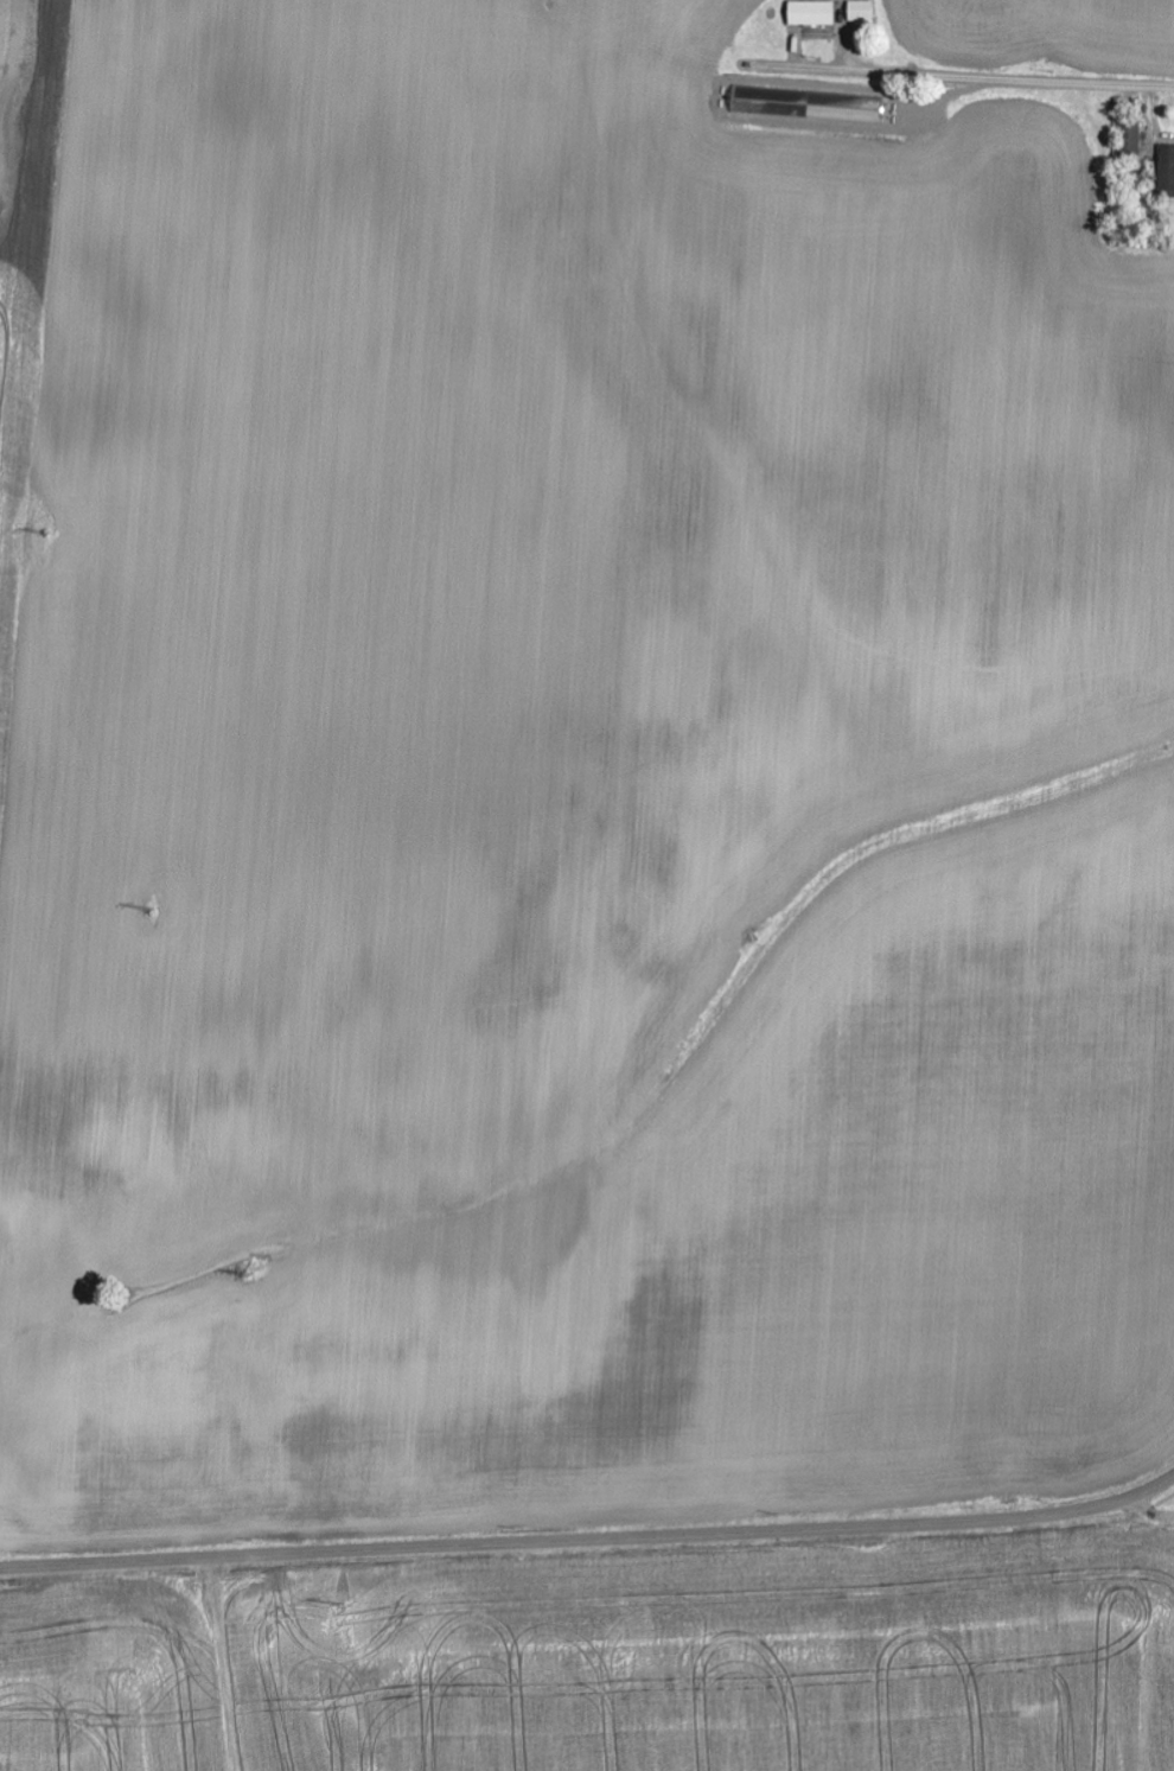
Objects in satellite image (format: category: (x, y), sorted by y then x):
building: (859, 12)
building: (810, 13)
building: (1166, 172)
road: (591, 1540)
road: (224, 1664)

